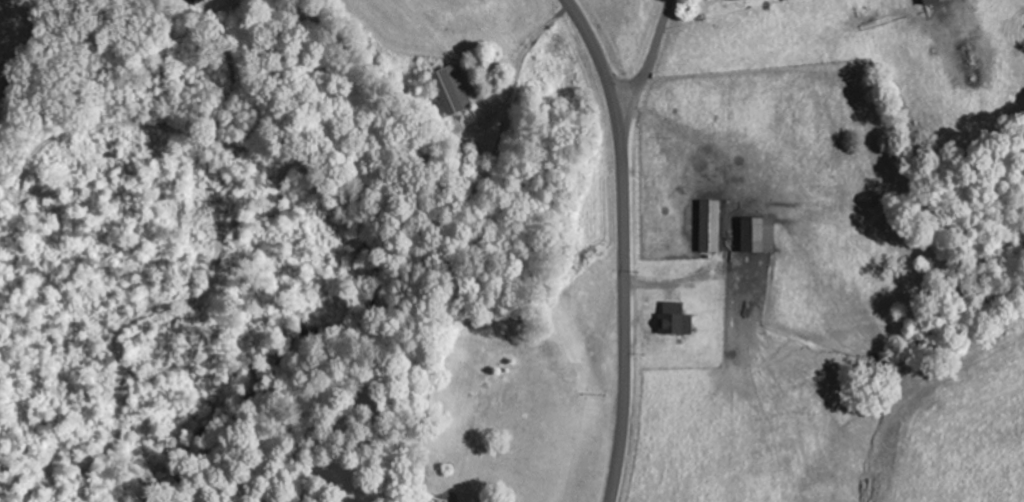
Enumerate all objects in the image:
building: (934, 1)
road: (647, 65)
building: (713, 225)
building: (759, 233)
road: (623, 245)
building: (678, 318)

